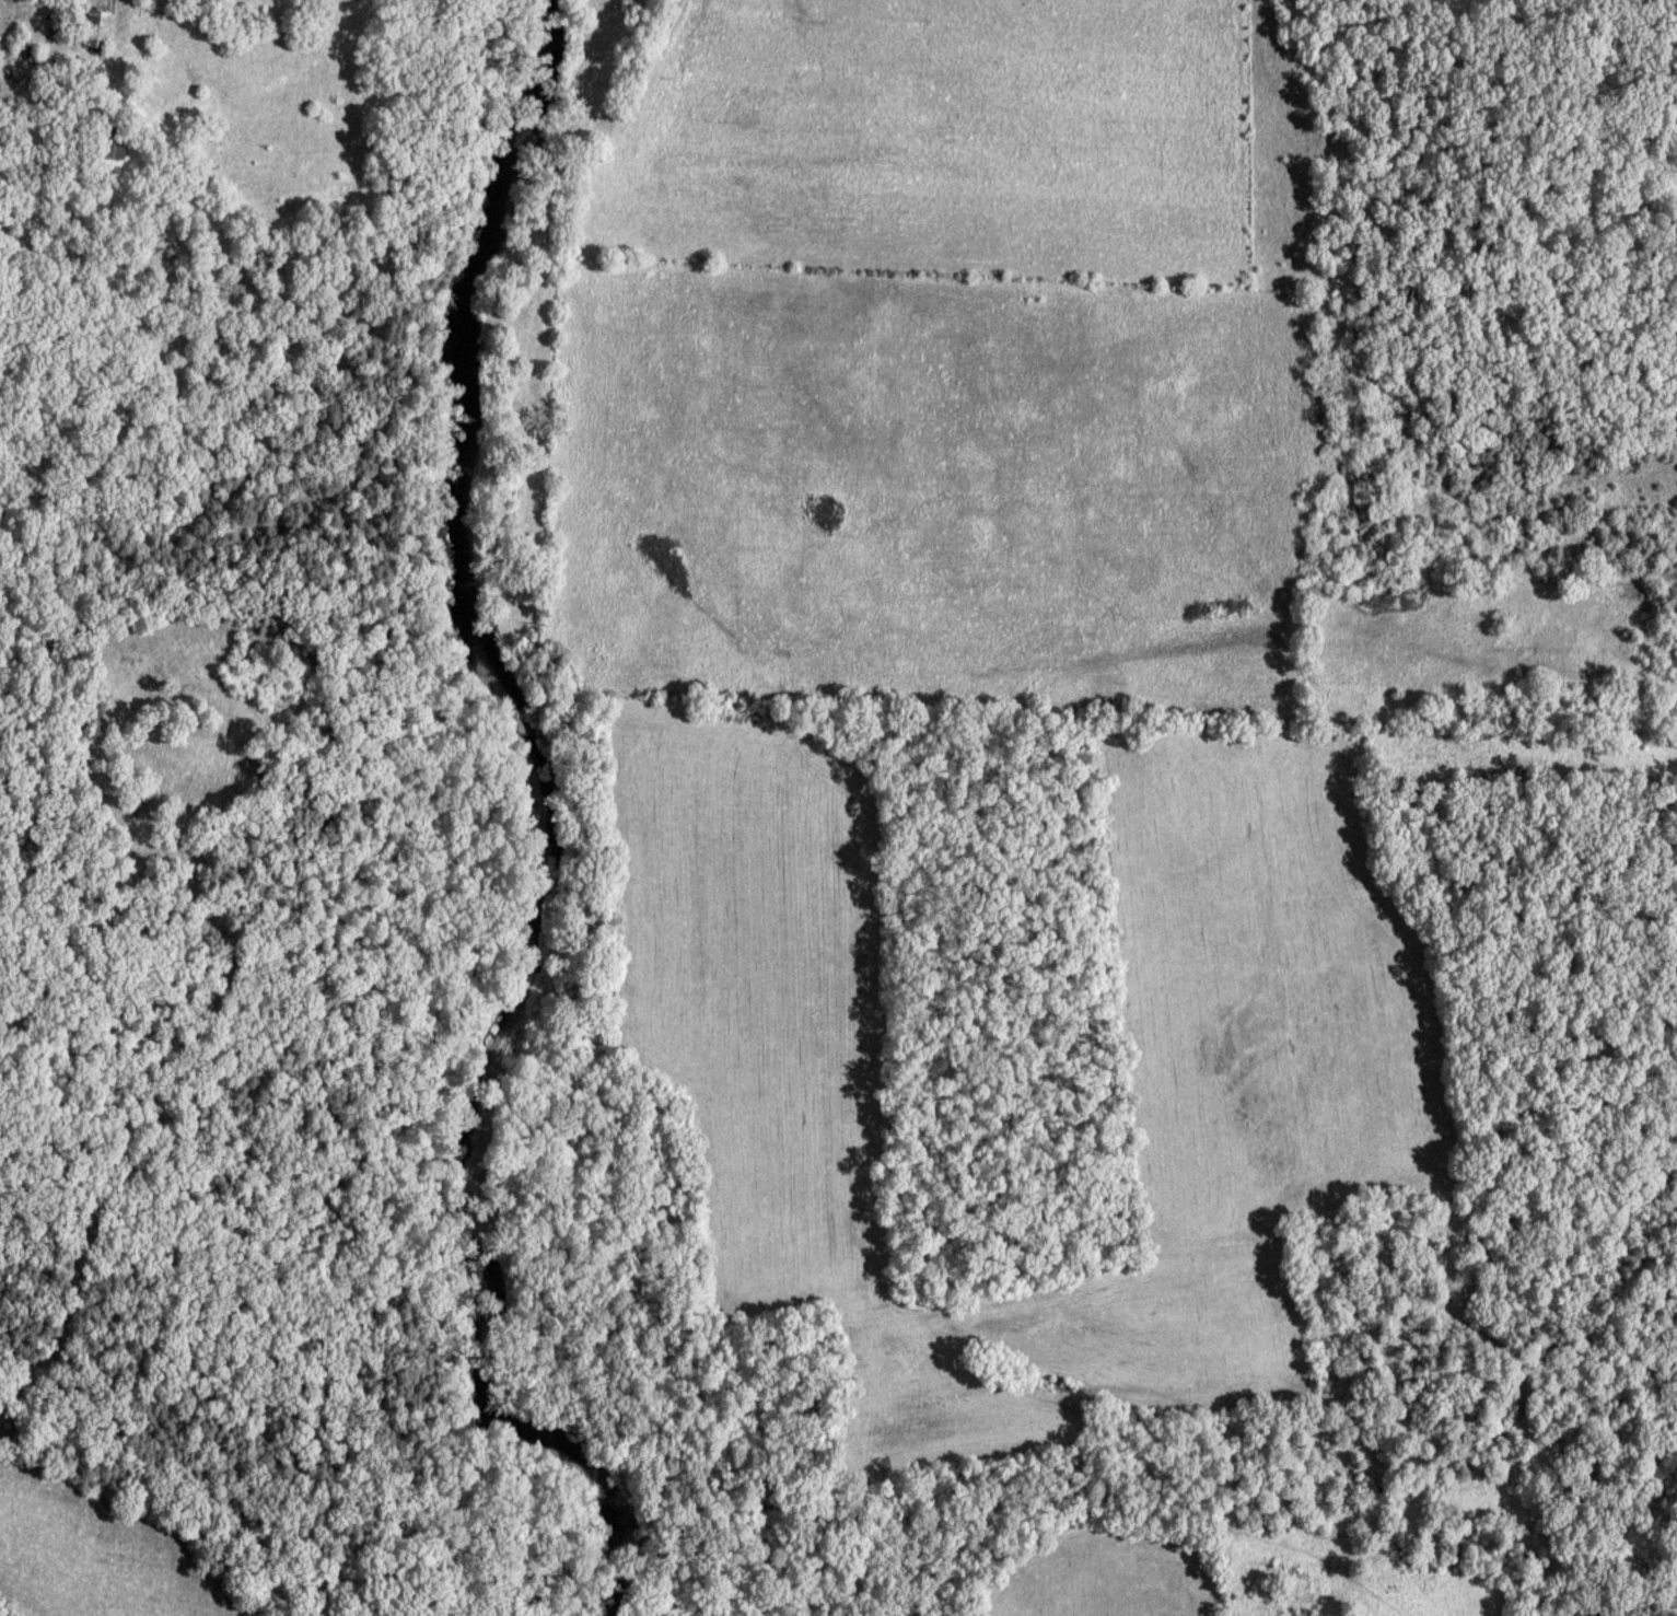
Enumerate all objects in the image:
road: (327, 164)

